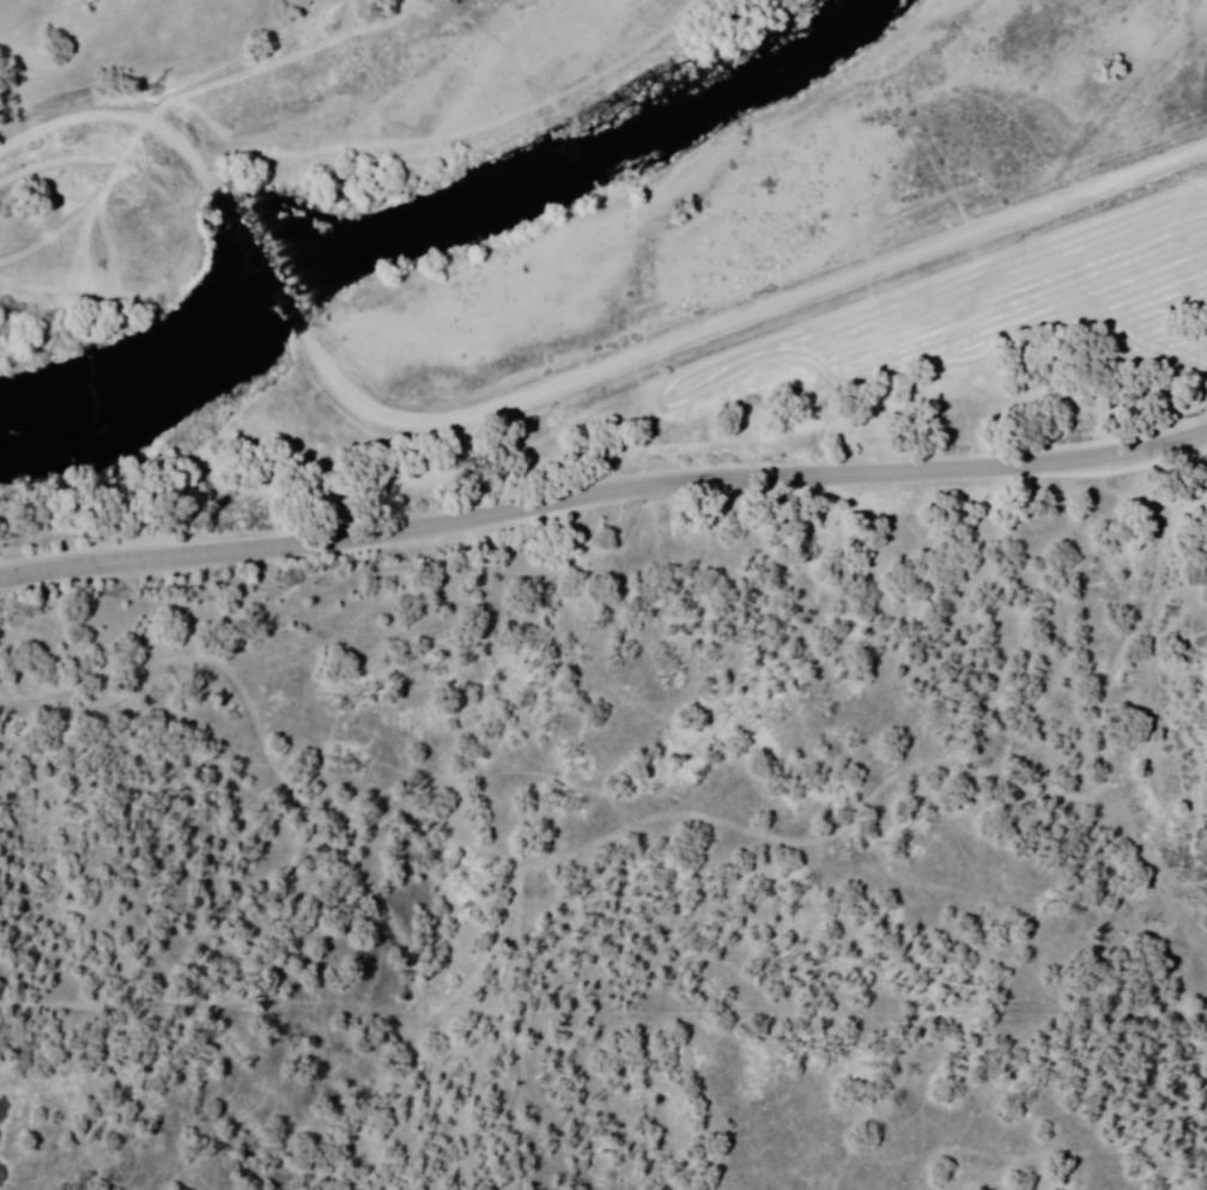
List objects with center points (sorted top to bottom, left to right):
river: (675, 80)
road: (126, 117)
river: (523, 165)
river: (368, 237)
road: (267, 275)
river: (126, 314)
road: (750, 315)
road: (601, 494)

